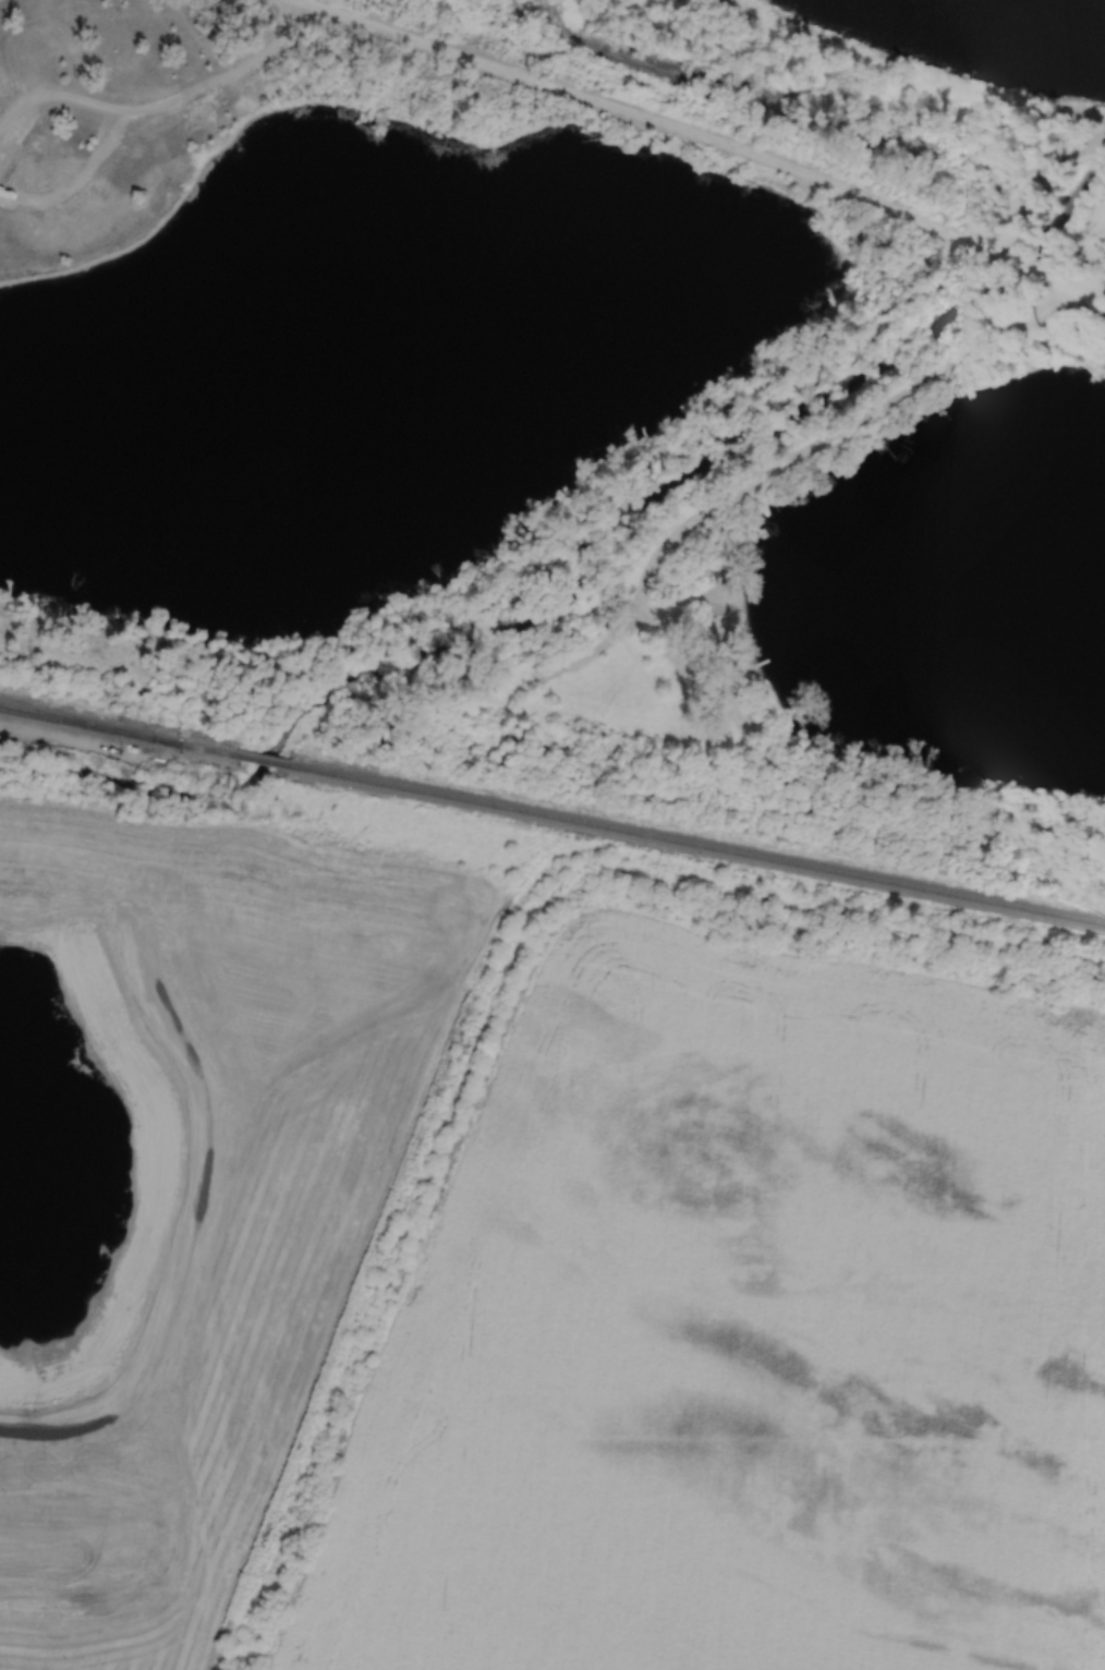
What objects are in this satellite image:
road: (160, 105)
road: (705, 136)
road: (1094, 285)
road: (1094, 301)
road: (833, 437)
building: (561, 655)
railway: (49, 715)
railway: (49, 717)
railway: (168, 741)
railway: (264, 760)
railway: (697, 844)

